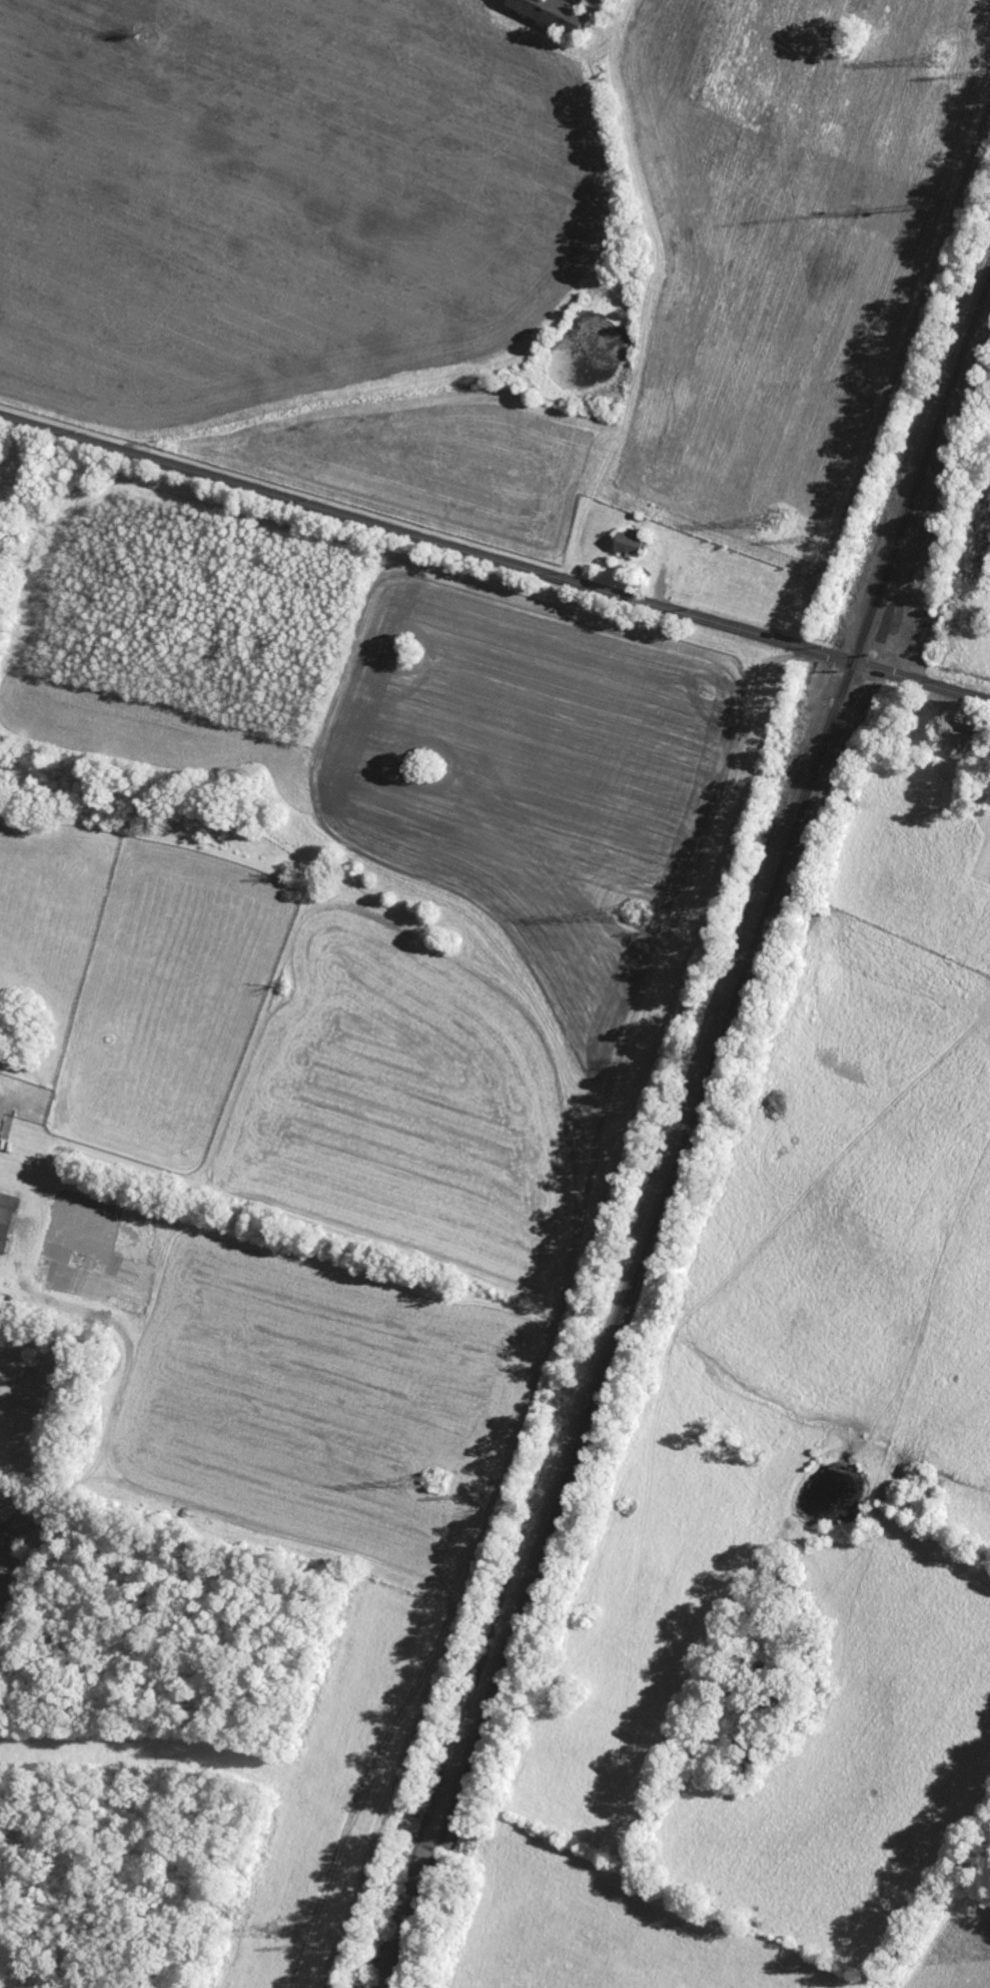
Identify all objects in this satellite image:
building: (555, 13)
power tower: (941, 61)
power tower: (782, 526)
building: (630, 544)
power tower: (820, 547)
road: (494, 560)
building: (958, 743)
power tower: (637, 912)
power tower: (686, 930)
building: (2, 1120)
railway: (688, 1133)
building: (6, 1217)
power tower: (443, 1481)
power tower: (484, 1498)
power tower: (278, 1935)
power tower: (327, 1947)

